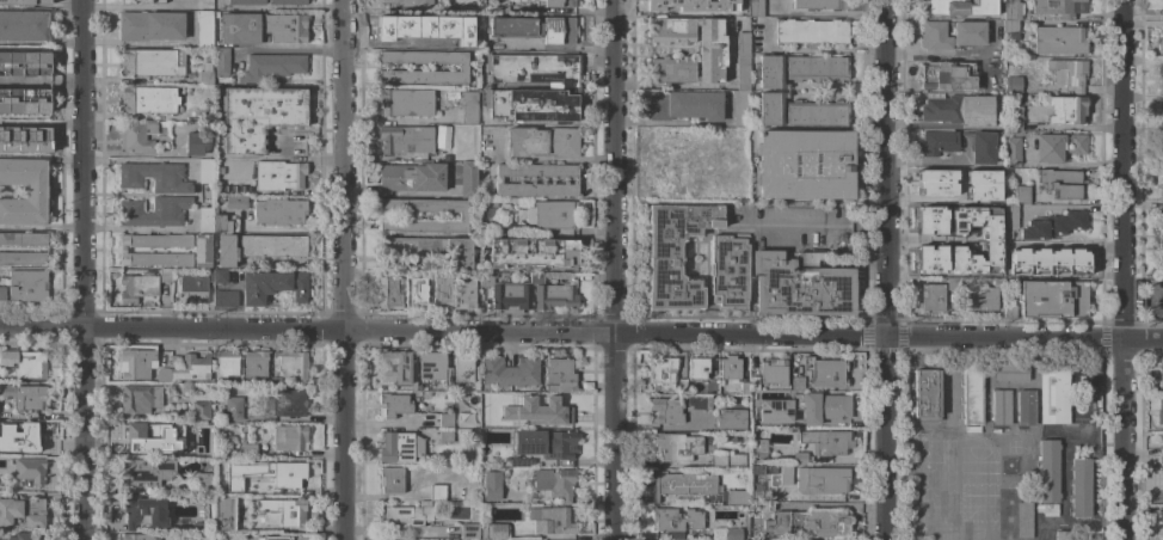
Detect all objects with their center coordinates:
road: (450, 0)
building: (141, 1)
building: (246, 1)
building: (24, 2)
building: (287, 2)
building: (467, 2)
building: (412, 4)
building: (555, 4)
building: (671, 4)
building: (820, 4)
building: (500, 5)
building: (449, 7)
building: (730, 7)
building: (756, 7)
building: (958, 7)
building: (1059, 7)
building: (1161, 8)
building: (1011, 10)
building: (23, 25)
building: (150, 25)
building: (261, 27)
building: (204, 29)
building: (406, 29)
building: (534, 29)
building: (1011, 29)
building: (811, 31)
building: (1162, 32)
building: (461, 35)
building: (968, 35)
building: (1059, 39)
road: (137, 42)
building: (1159, 45)
road: (808, 49)
building: (710, 50)
road: (937, 54)
building: (152, 61)
building: (221, 61)
building: (742, 61)
building: (24, 62)
building: (270, 67)
building: (462, 67)
building: (799, 69)
building: (1069, 70)
building: (205, 74)
building: (948, 75)
building: (1159, 82)
building: (1013, 85)
building: (564, 86)
building: (148, 99)
building: (24, 102)
building: (405, 102)
building: (684, 105)
building: (1162, 105)
building: (469, 106)
building: (740, 109)
building: (1067, 109)
building: (959, 110)
building: (1162, 111)
building: (801, 112)
building: (1162, 117)
building: (1014, 118)
road: (671, 122)
building: (1162, 123)
building: (263, 130)
building: (24, 135)
building: (136, 136)
building: (439, 137)
building: (405, 139)
building: (543, 141)
building: (939, 142)
building: (193, 143)
building: (1162, 143)
building: (982, 147)
building: (1058, 147)
building: (1013, 151)
road: (136, 153)
road: (553, 159)
road: (922, 160)
building: (805, 164)
road: (1065, 164)
road: (882, 167)
building: (217, 168)
road: (1121, 168)
building: (205, 171)
building: (154, 177)
building: (412, 177)
building: (467, 179)
building: (536, 179)
building: (946, 183)
building: (1063, 184)
building: (980, 185)
building: (217, 189)
building: (1161, 189)
building: (227, 190)
building: (25, 191)
building: (1019, 195)
building: (996, 196)
building: (219, 198)
building: (235, 202)
building: (154, 211)
building: (279, 211)
building: (462, 215)
building: (552, 215)
building: (1009, 219)
building: (205, 220)
building: (1161, 220)
building: (929, 221)
building: (223, 223)
road: (824, 225)
road: (39, 226)
building: (1056, 226)
building: (989, 240)
road: (925, 241)
building: (271, 245)
building: (44, 248)
building: (430, 248)
building: (123, 250)
building: (202, 251)
building: (226, 251)
building: (531, 252)
building: (675, 254)
building: (1056, 257)
building: (929, 259)
building: (1010, 262)
building: (1161, 264)
road: (79, 269)
road: (614, 269)
road: (344, 270)
building: (997, 270)
building: (728, 271)
building: (165, 275)
building: (220, 276)
building: (953, 284)
building: (27, 286)
building: (272, 286)
building: (800, 286)
building: (137, 287)
building: (193, 287)
building: (442, 292)
building: (464, 292)
building: (2, 293)
building: (389, 293)
building: (417, 293)
building: (506, 293)
building: (550, 294)
building: (933, 297)
building: (224, 299)
building: (983, 299)
building: (1052, 300)
building: (1161, 302)
building: (1009, 311)
road: (560, 332)
road: (1142, 338)
building: (25, 363)
building: (136, 363)
building: (227, 363)
building: (254, 363)
building: (290, 363)
building: (394, 366)
building: (696, 367)
building: (191, 368)
building: (433, 368)
building: (730, 368)
building: (464, 370)
building: (510, 372)
building: (773, 372)
building: (826, 372)
building: (1009, 372)
building: (662, 373)
building: (560, 374)
building: (164, 375)
building: (1161, 376)
building: (413, 378)
building: (275, 380)
building: (753, 382)
building: (796, 383)
building: (681, 386)
building: (744, 388)
building: (925, 393)
building: (972, 393)
building: (1053, 394)
building: (24, 397)
building: (140, 398)
building: (503, 399)
building: (699, 401)
building: (287, 403)
building: (393, 405)
building: (805, 407)
building: (1001, 407)
building: (1024, 407)
building: (233, 409)
building: (199, 410)
building: (665, 410)
building: (1159, 411)
building: (546, 415)
building: (445, 419)
building: (731, 419)
building: (20, 434)
building: (136, 434)
building: (445, 435)
building: (289, 437)
road: (882, 437)
road: (1120, 438)
building: (826, 442)
building: (544, 443)
building: (677, 446)
building: (395, 447)
building: (197, 448)
building: (758, 448)
building: (244, 452)
building: (1161, 456)
building: (800, 458)
building: (734, 459)
building: (719, 460)
building: (228, 468)
building: (30, 470)
building: (756, 470)
building: (773, 470)
building: (1047, 471)
building: (143, 472)
building: (285, 473)
building: (390, 480)
building: (822, 480)
building: (553, 483)
building: (202, 484)
building: (492, 485)
building: (1159, 485)
building: (251, 487)
building: (681, 487)
building: (1079, 487)
building: (437, 492)
building: (737, 497)
building: (424, 501)
building: (284, 510)
building: (1050, 510)
building: (144, 511)
building: (21, 513)
building: (1162, 513)
building: (223, 514)
building: (406, 515)
building: (553, 520)
building: (676, 520)
building: (1023, 520)
building: (807, 523)
building: (251, 524)
building: (199, 527)
road: (398, 529)
building: (469, 530)
building: (492, 532)
building: (732, 534)
building: (1064, 534)
building: (24, 536)
building: (139, 536)
building: (282, 538)

